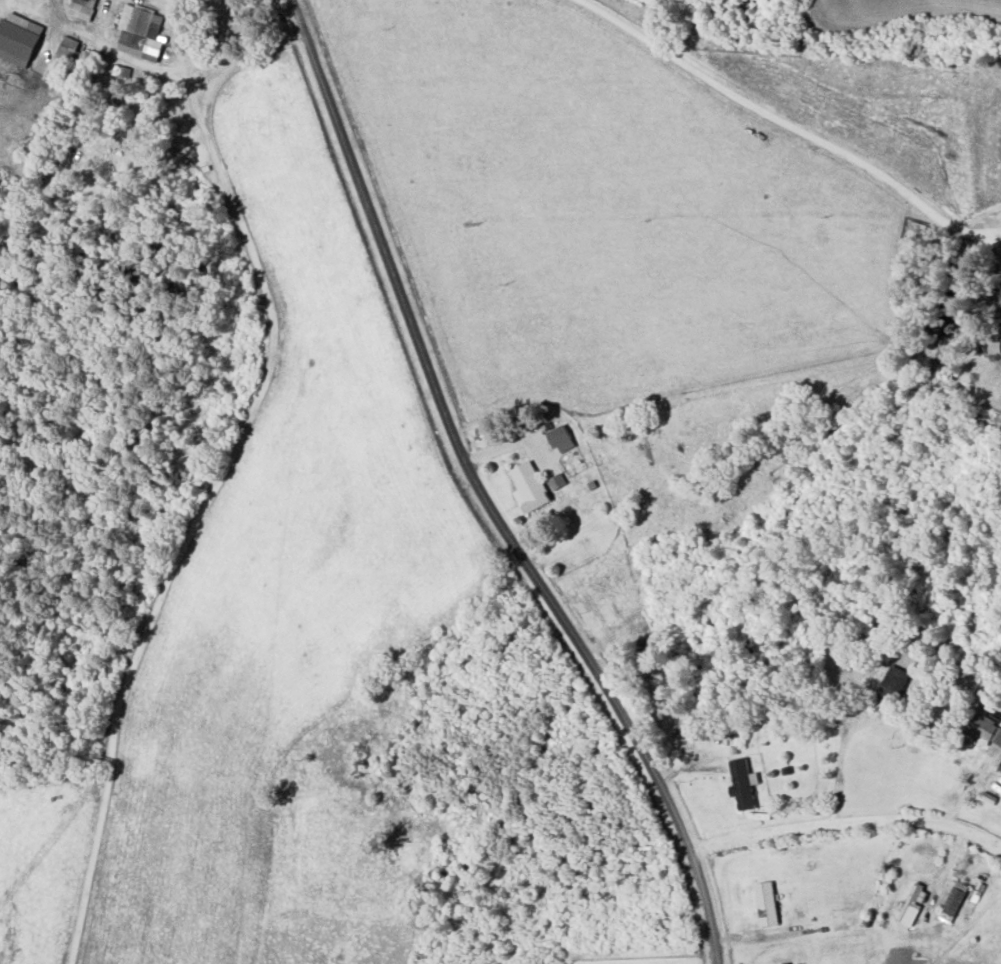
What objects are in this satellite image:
building: (81, 7)
building: (140, 29)
building: (18, 37)
building: (63, 57)
building: (121, 69)
building: (561, 437)
building: (532, 485)
road: (480, 494)
building: (894, 683)
building: (986, 729)
road: (839, 765)
building: (999, 767)
building: (743, 783)
road: (845, 821)
road: (998, 844)
building: (953, 901)
building: (767, 902)
building: (913, 903)

